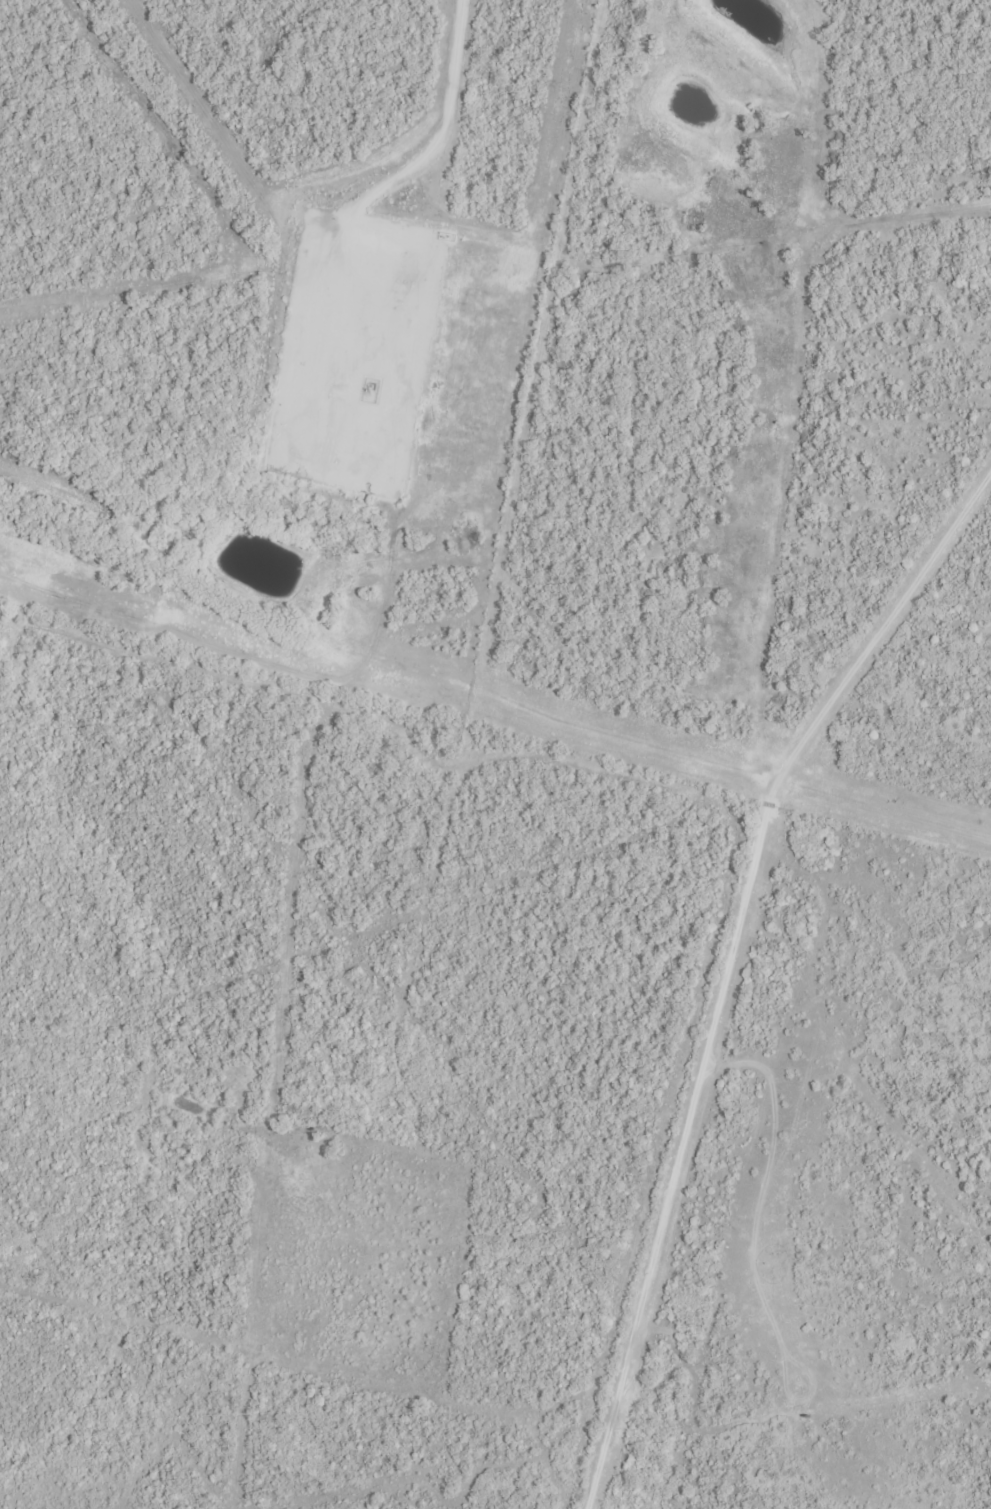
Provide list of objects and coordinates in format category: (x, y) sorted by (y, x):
road: (397, 515)

